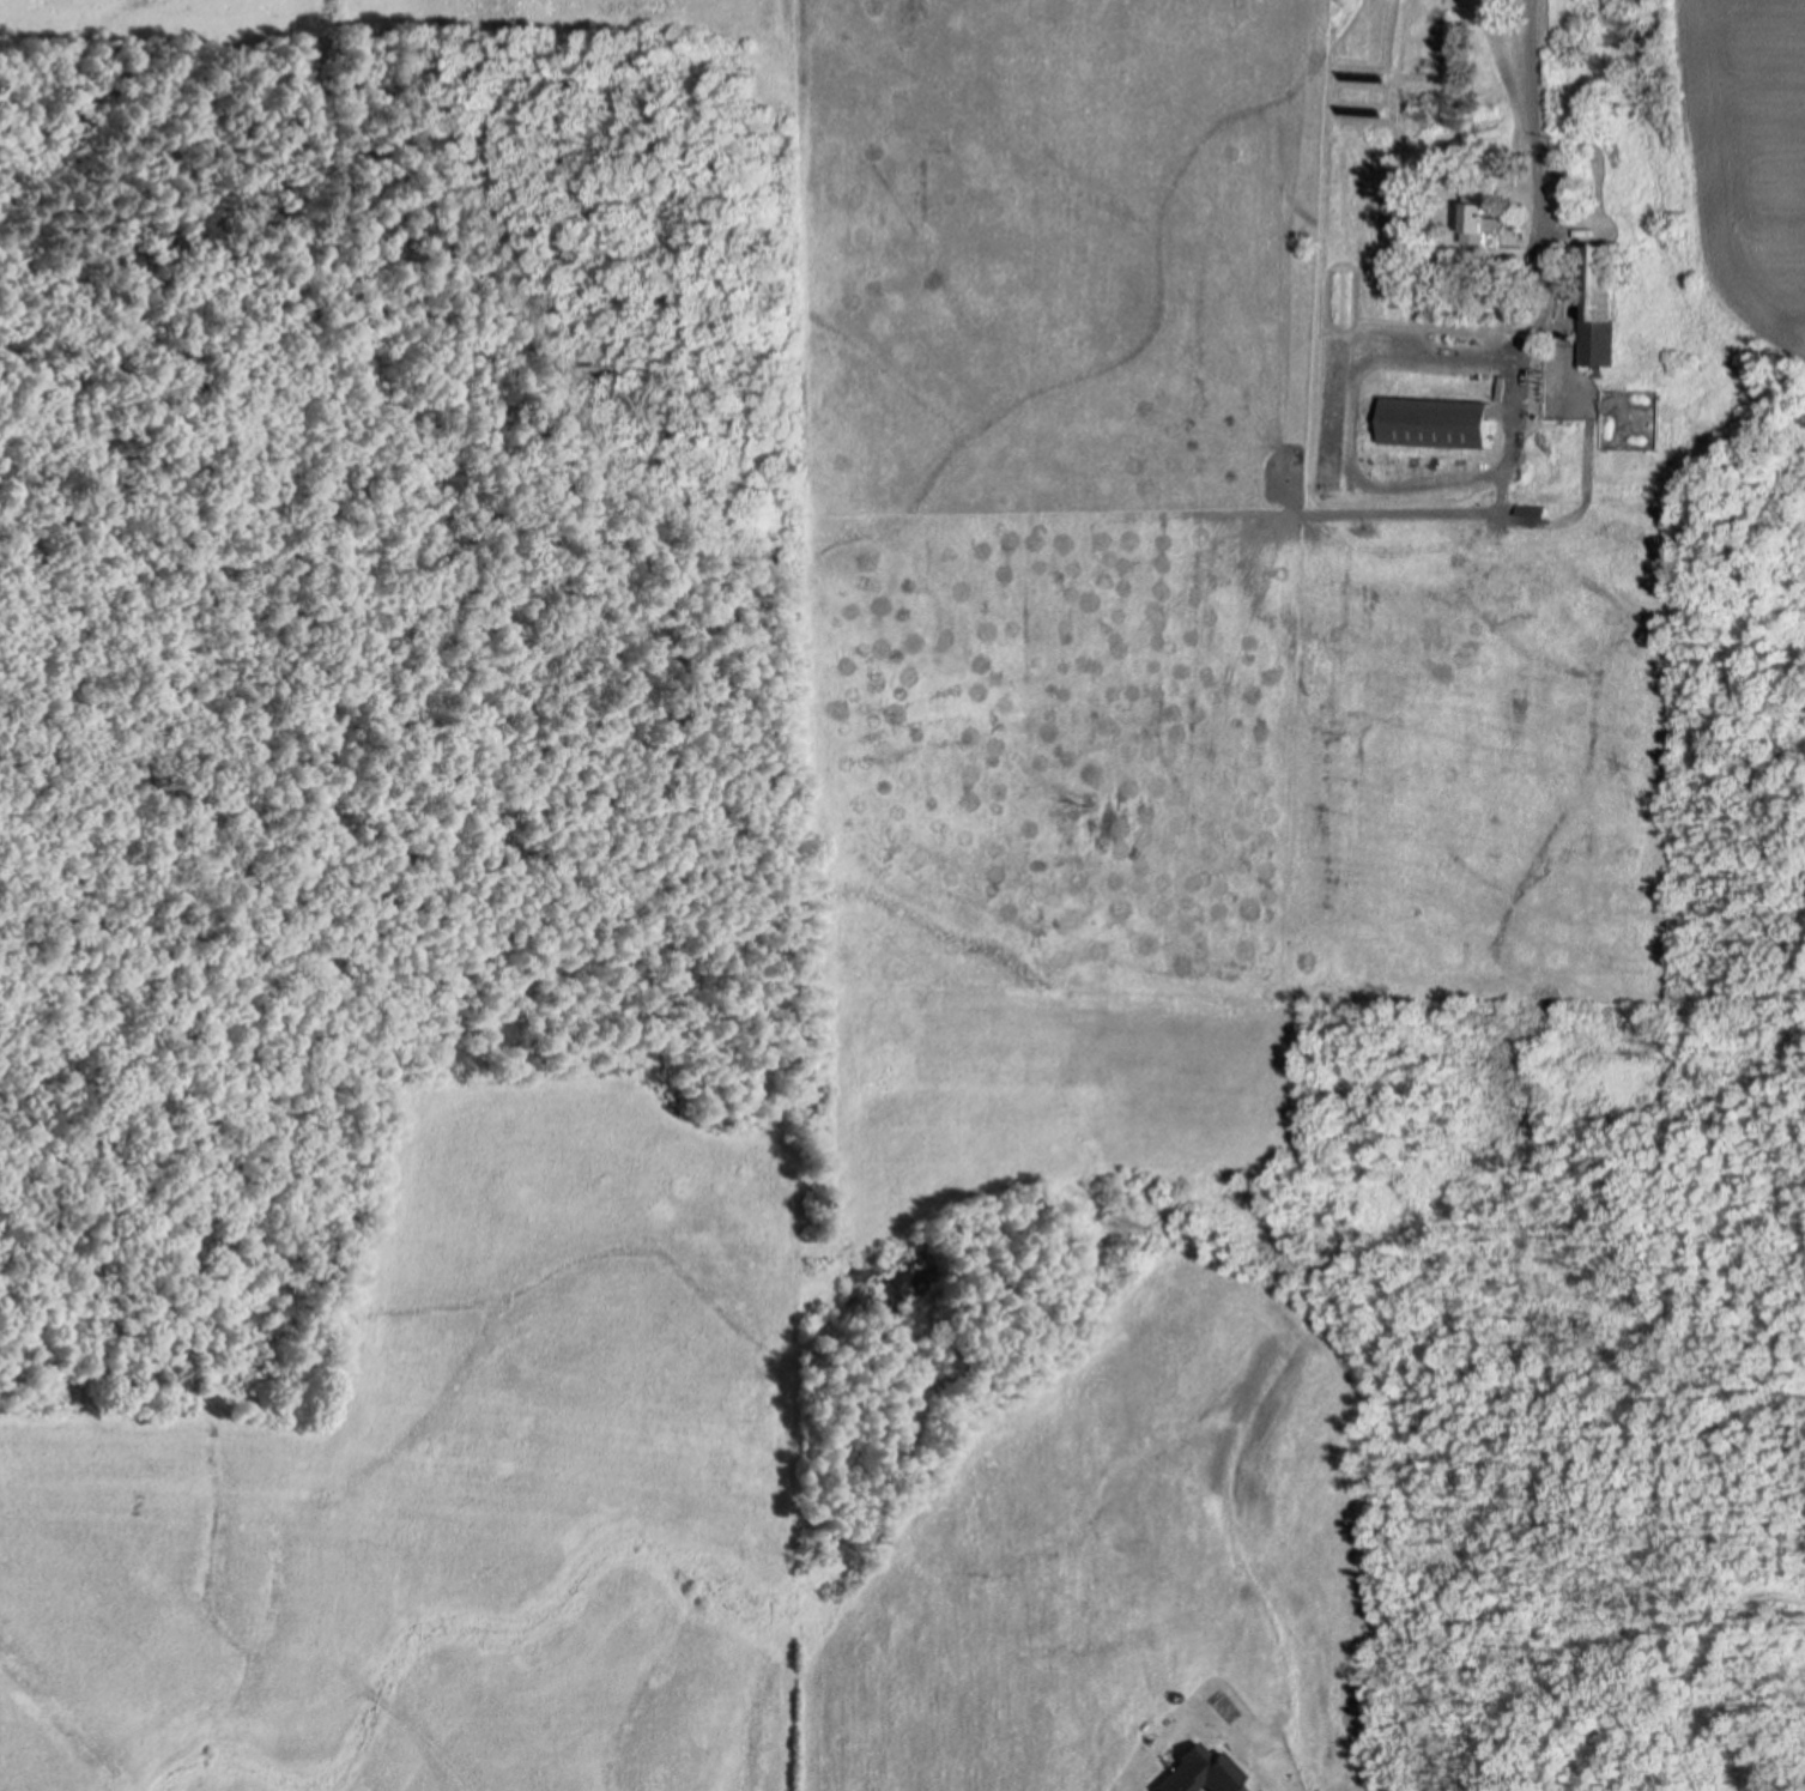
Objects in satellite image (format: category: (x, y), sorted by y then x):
building: (1406, 163)
building: (1329, 167)
building: (1479, 217)
building: (1600, 302)
building: (1437, 420)
building: (1201, 1772)

